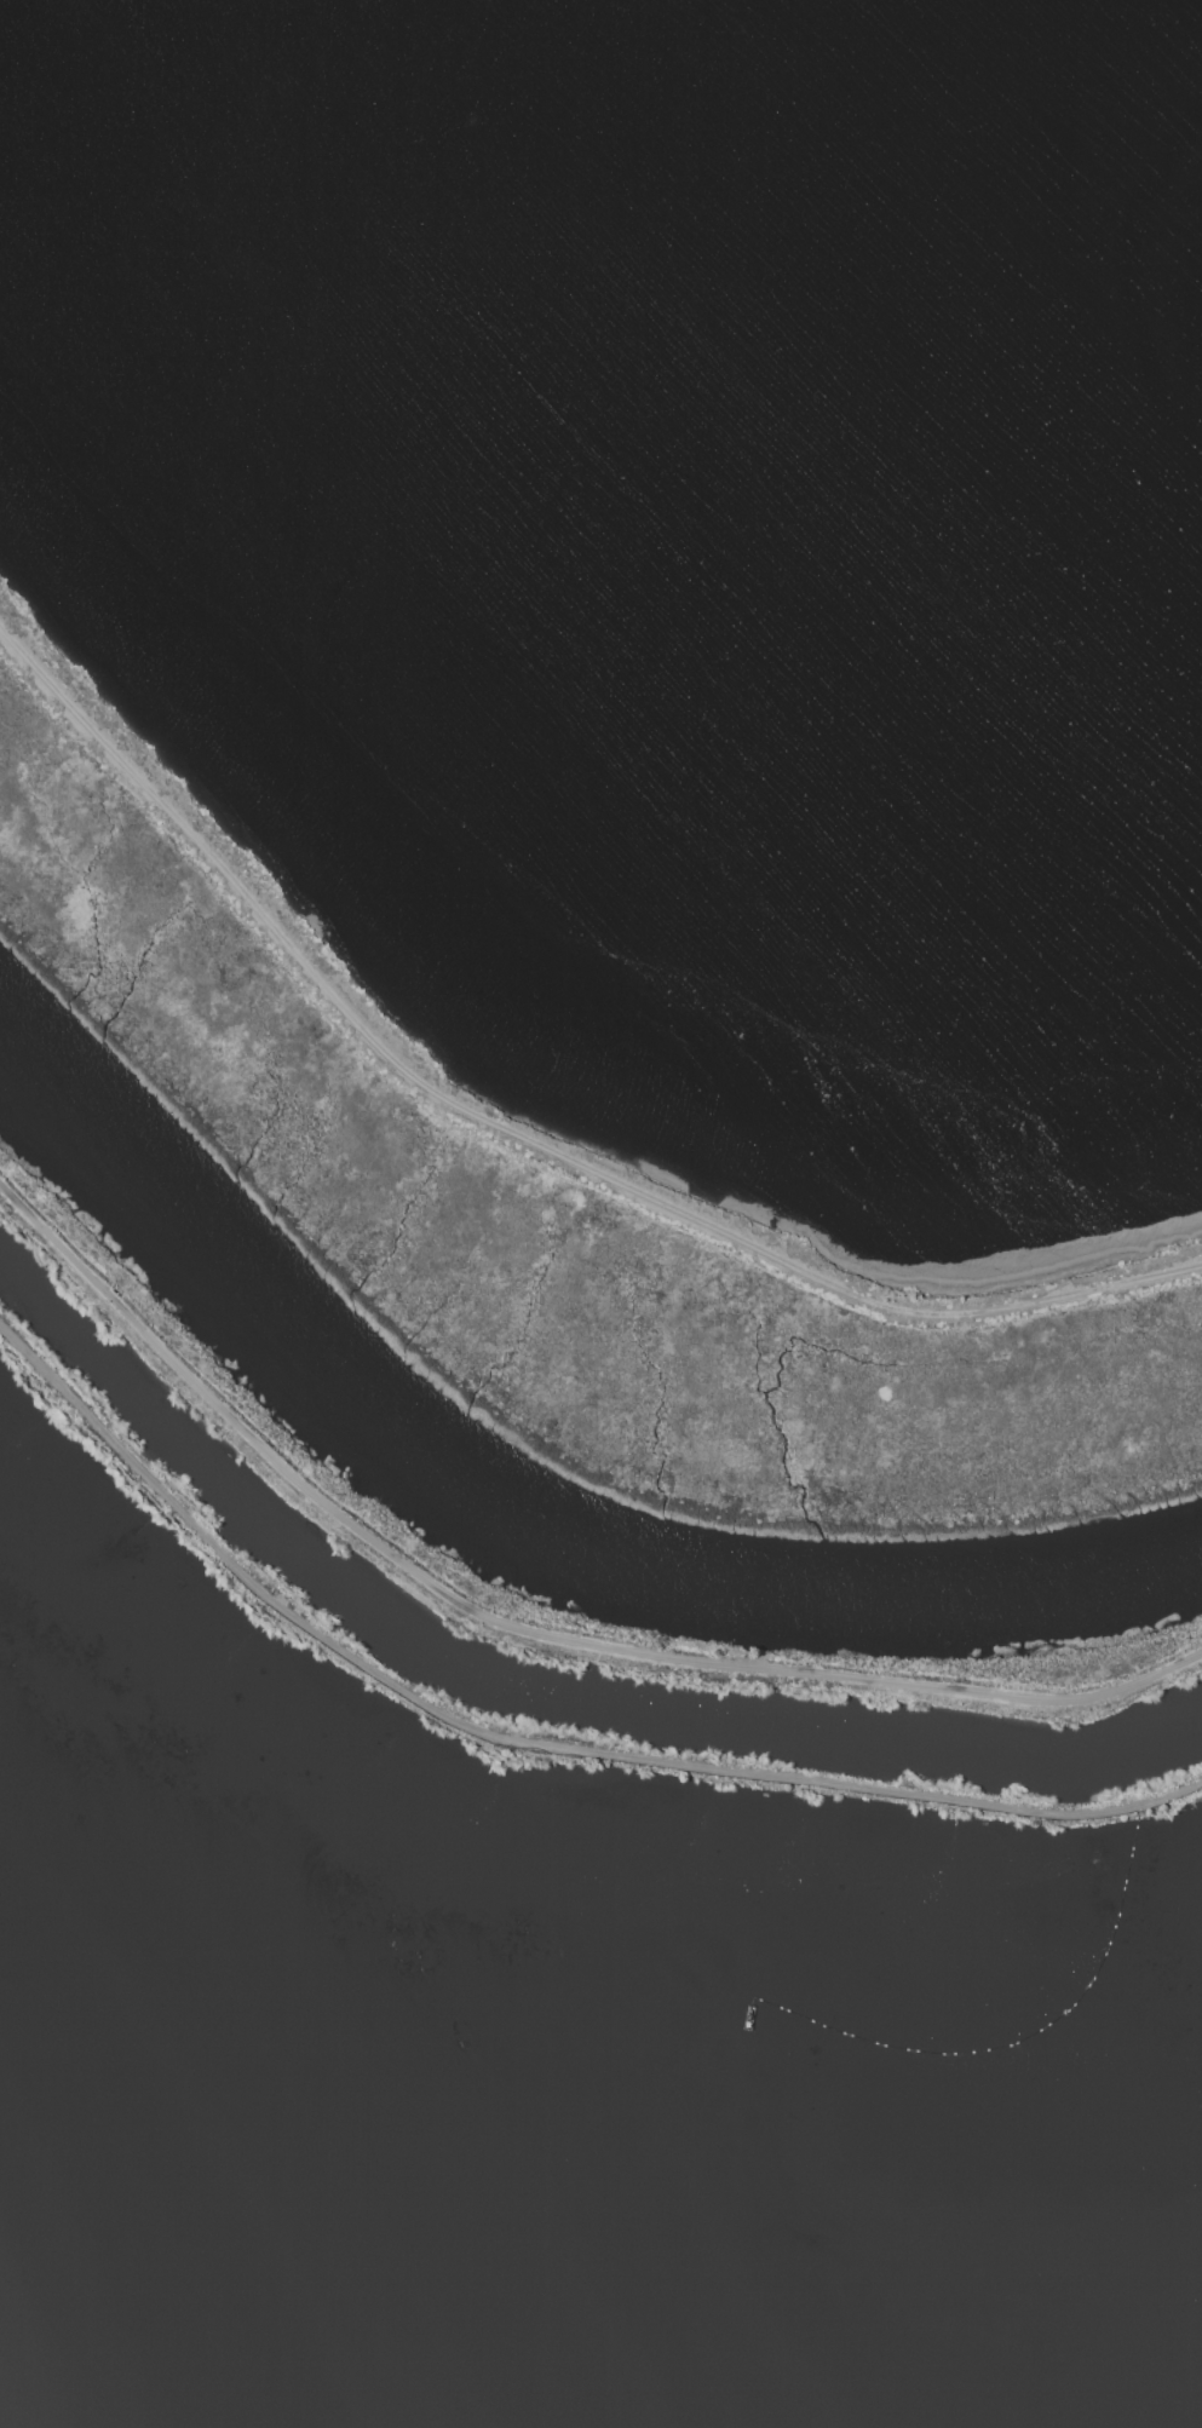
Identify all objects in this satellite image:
road: (516, 1135)
river: (510, 1517)
road: (519, 1629)
road: (528, 1749)

